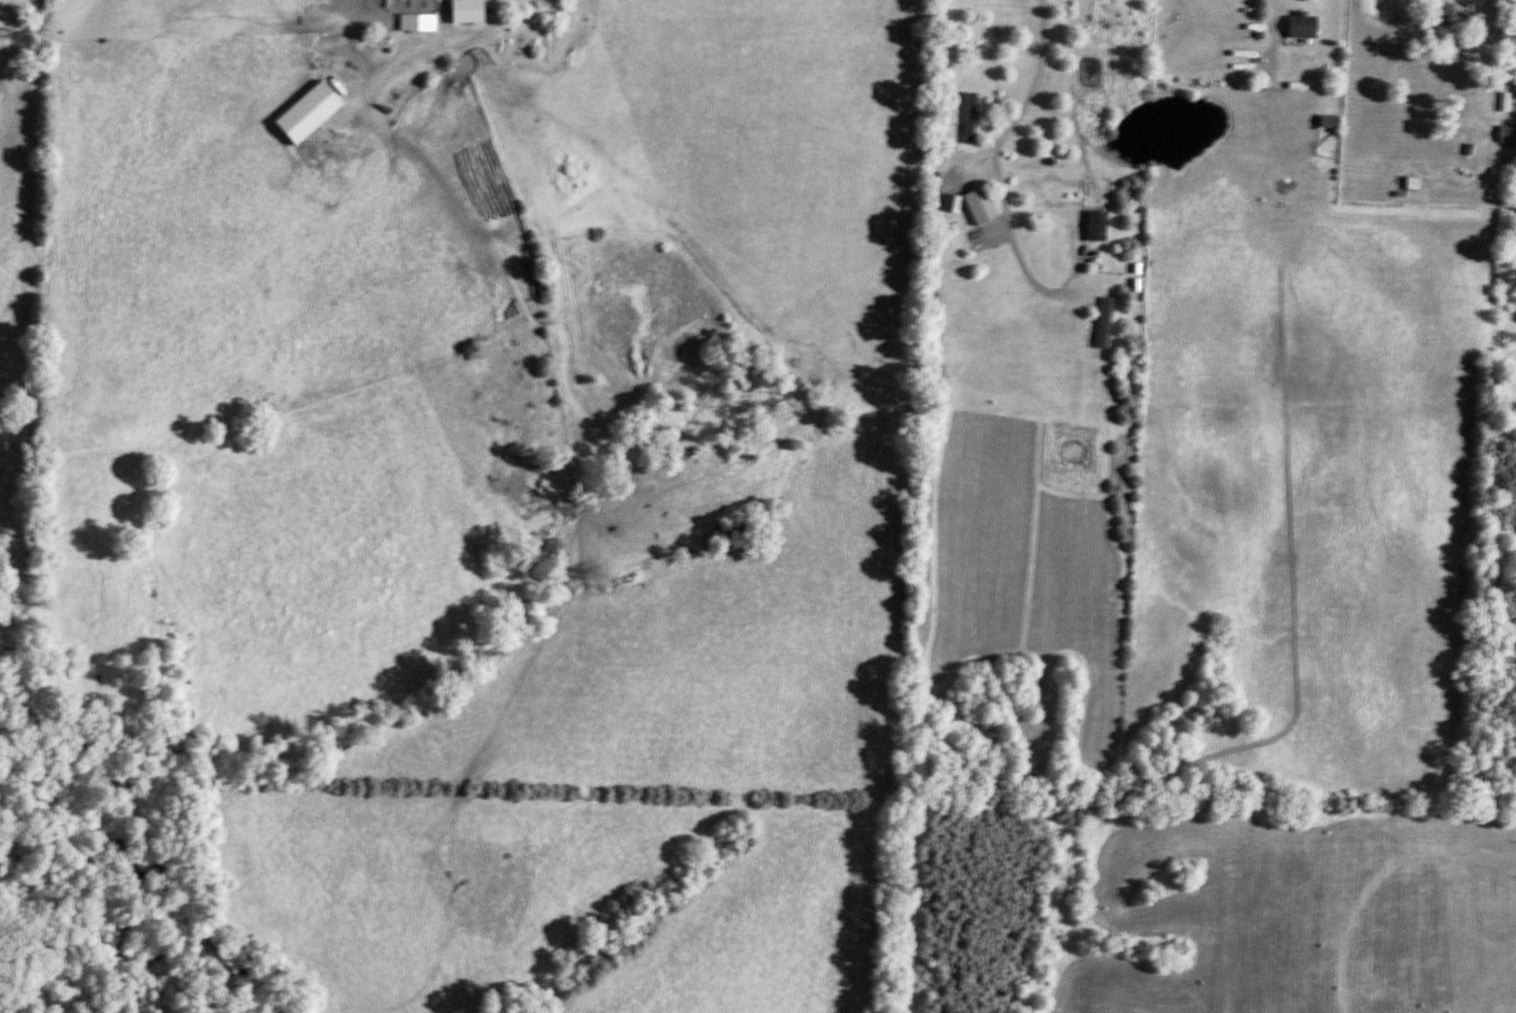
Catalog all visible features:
building: (468, 11)
building: (1451, 17)
building: (428, 23)
building: (1303, 25)
road: (1267, 29)
road: (1492, 30)
road: (418, 44)
building: (311, 112)
building: (971, 117)
building: (1331, 121)
building: (1508, 133)
road: (992, 165)
building: (1405, 171)
building: (982, 206)

